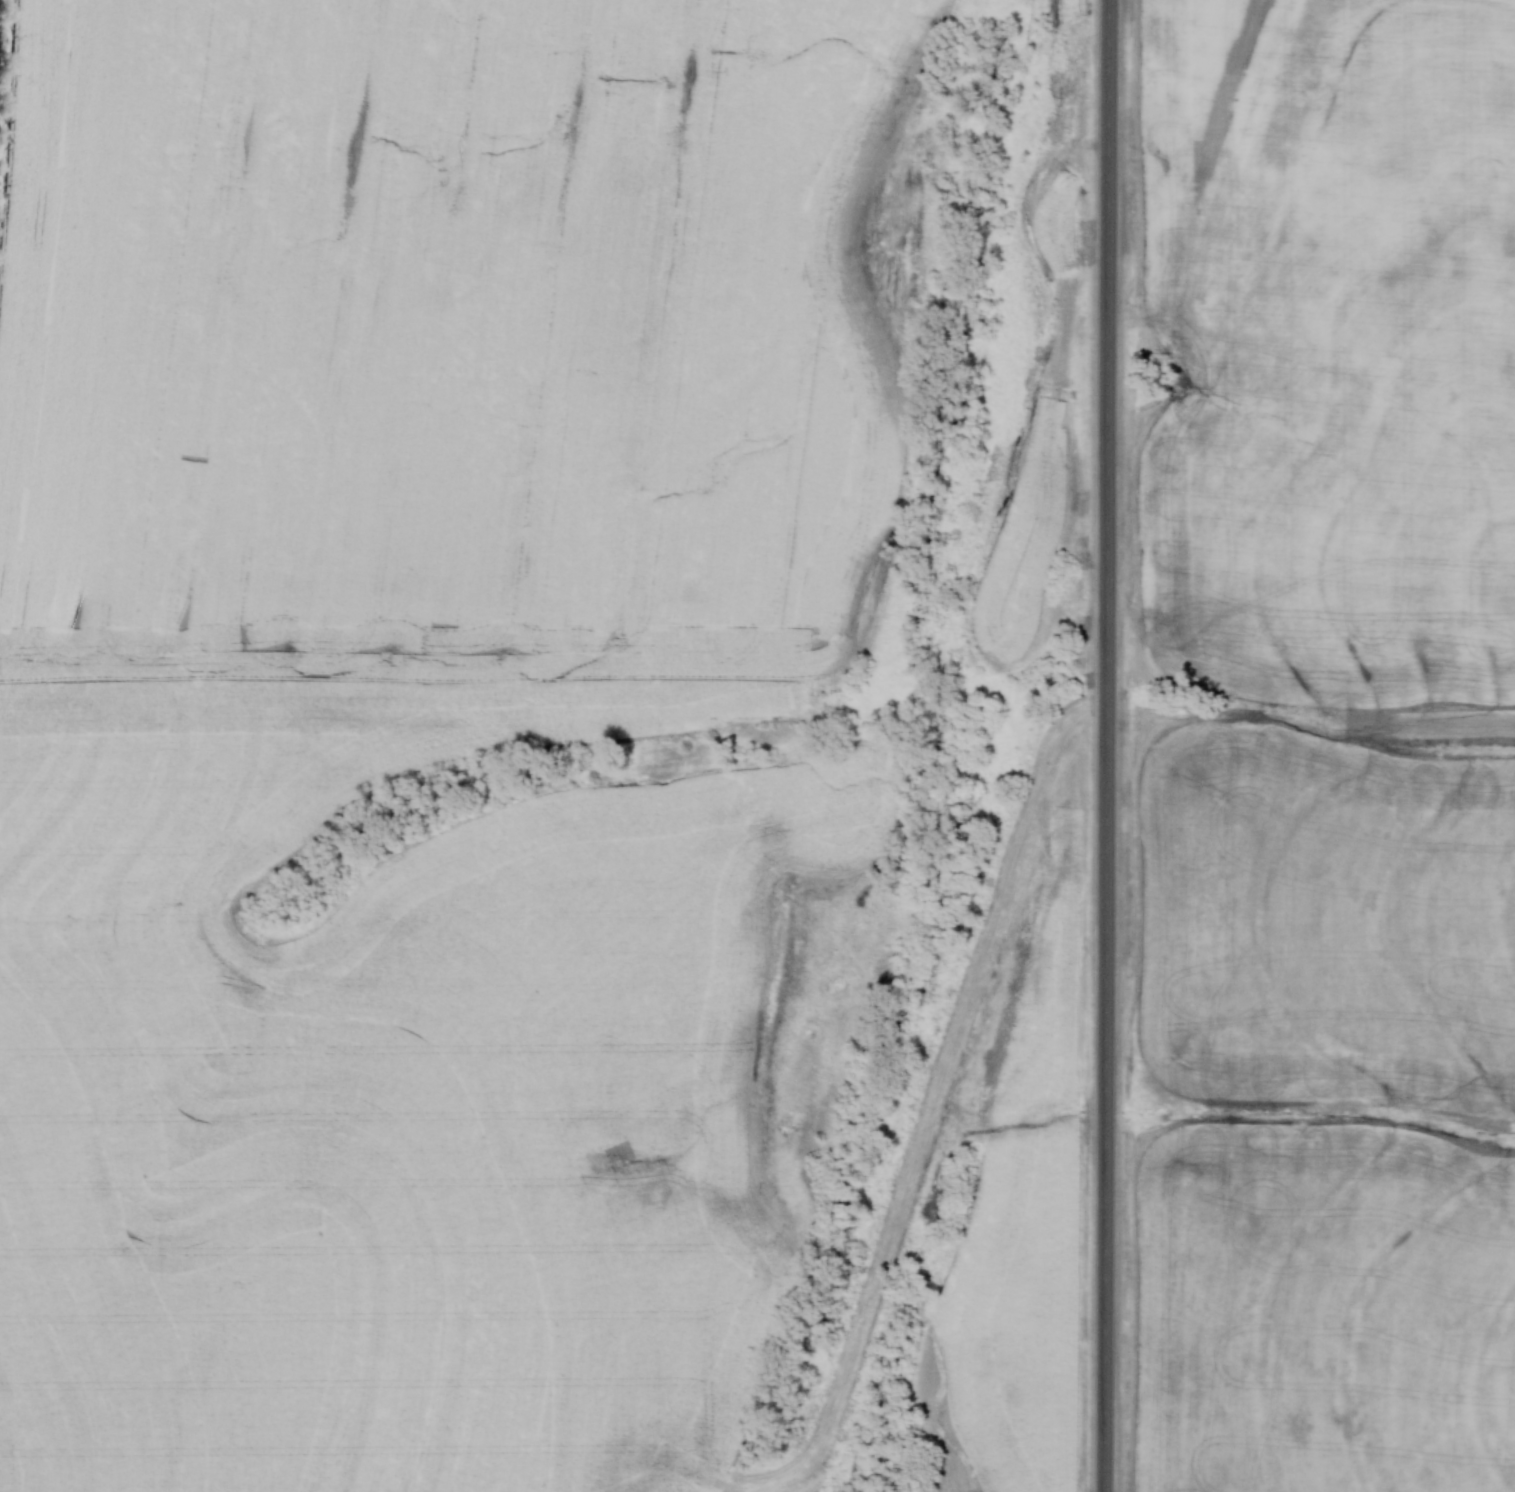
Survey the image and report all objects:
road: (1107, 746)

